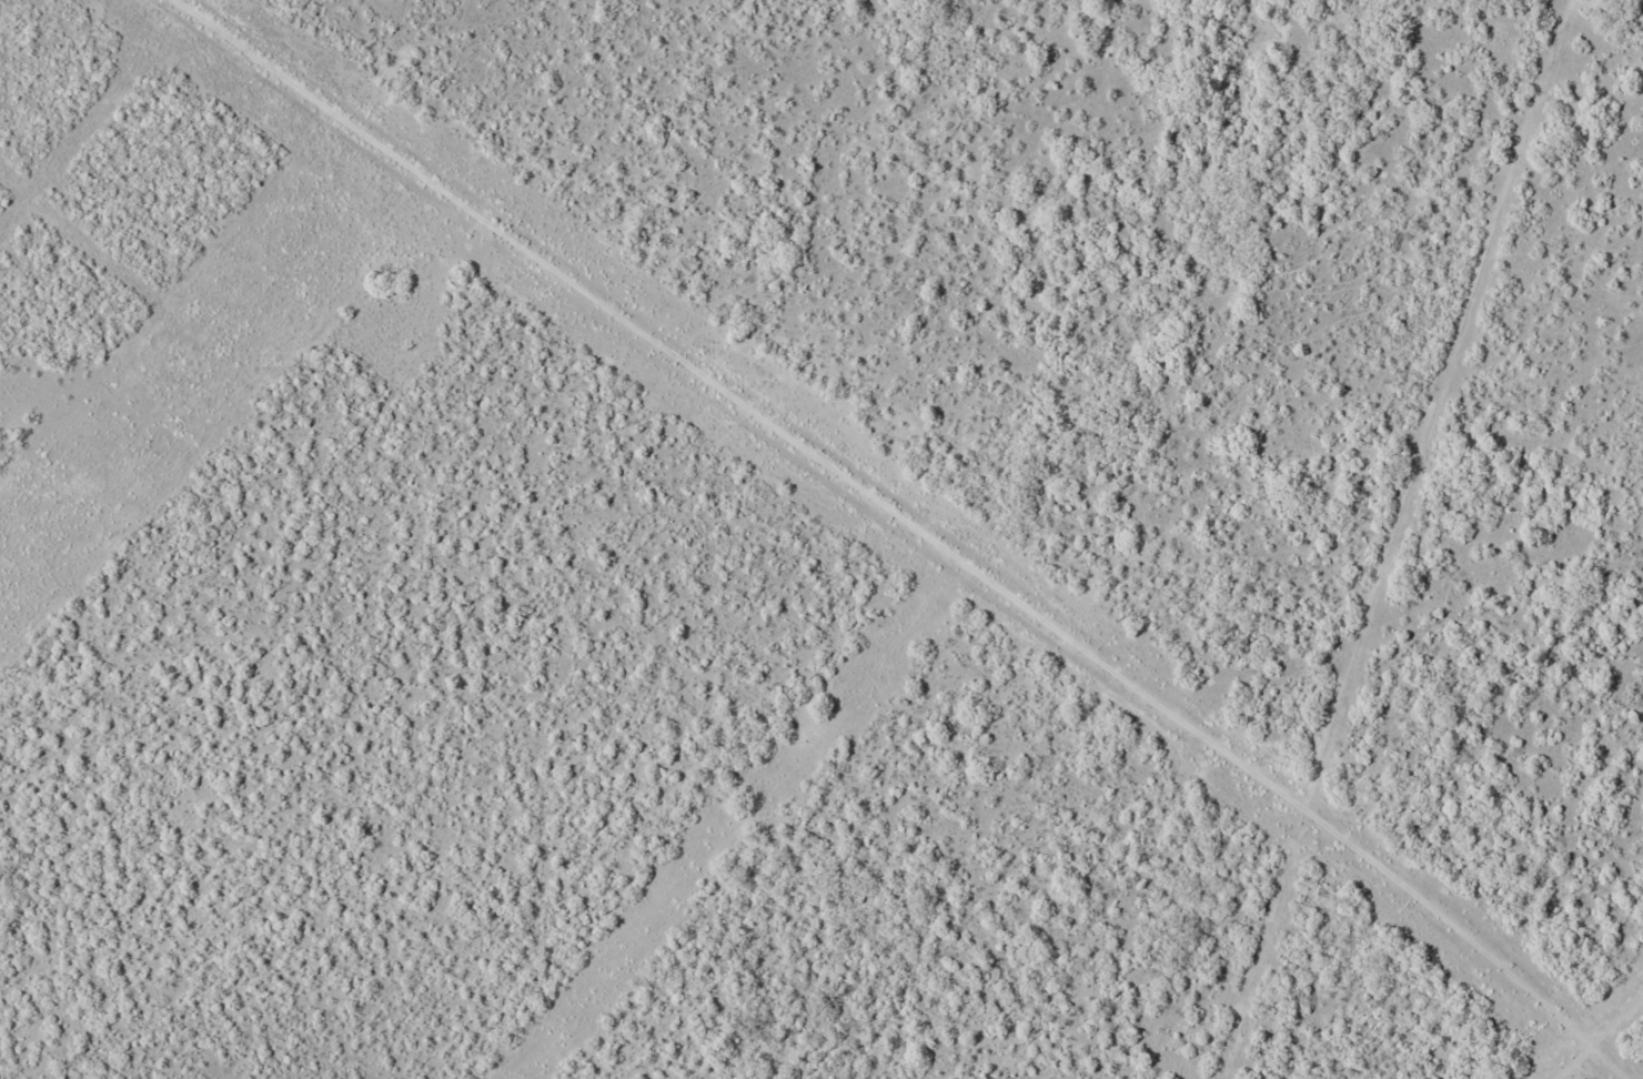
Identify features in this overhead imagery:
road: (907, 545)

